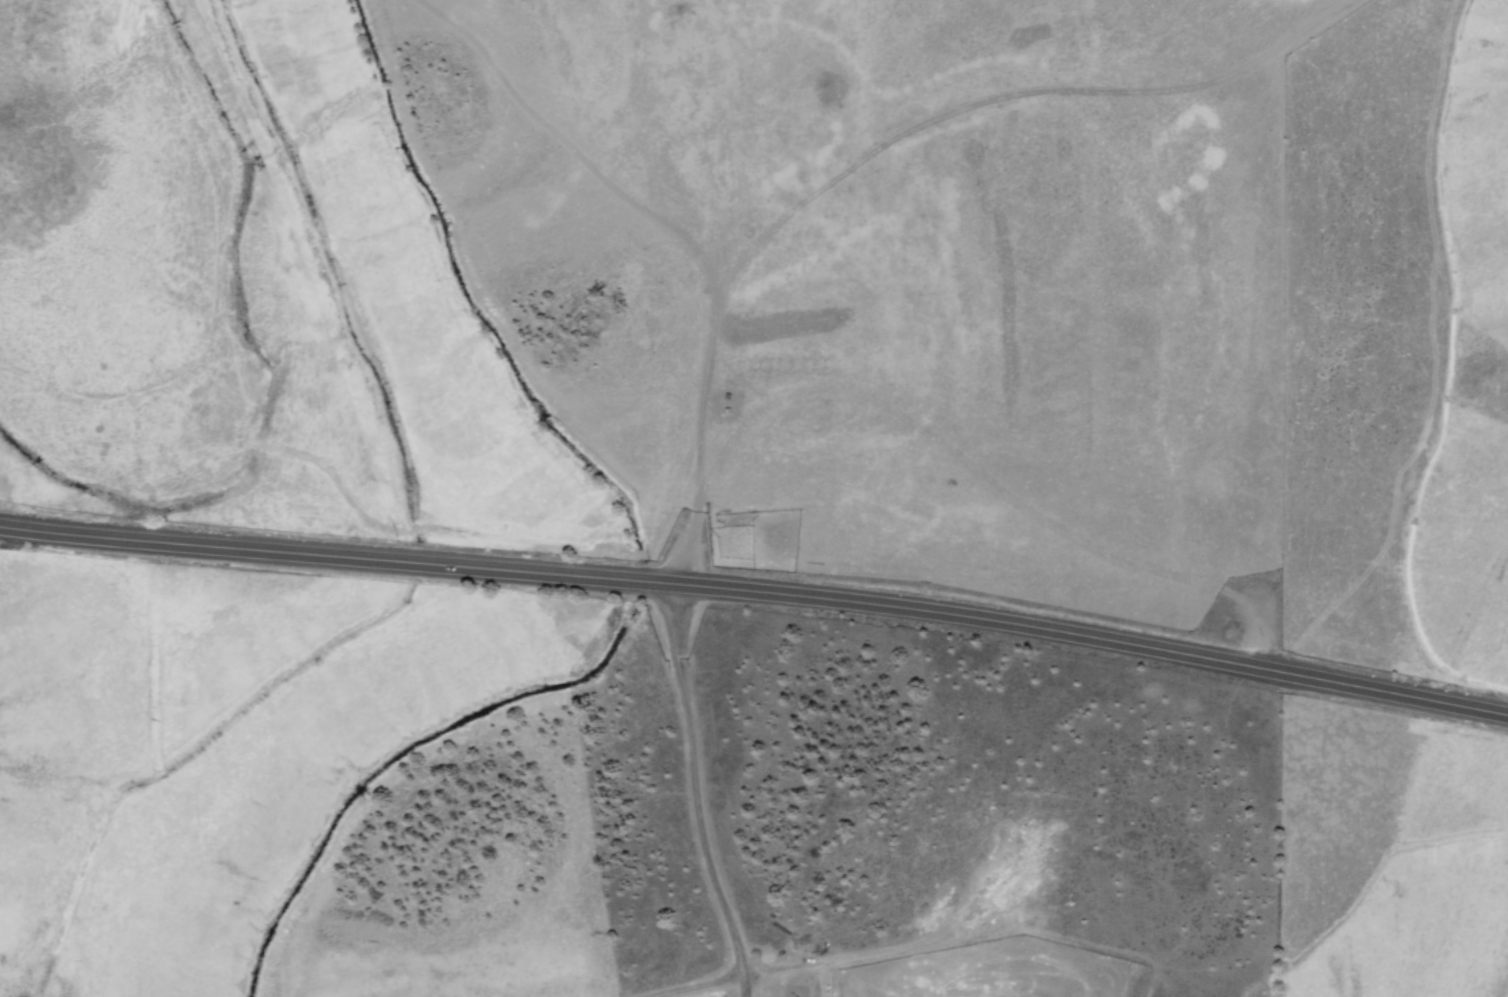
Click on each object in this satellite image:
road: (758, 585)
road: (696, 790)

